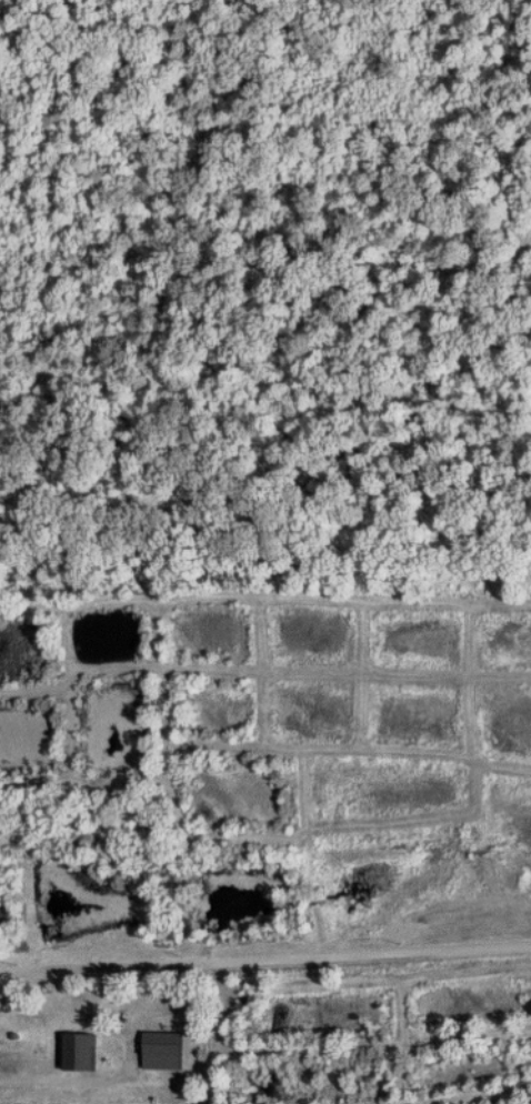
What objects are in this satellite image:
road: (265, 961)
building: (166, 1052)
building: (82, 1054)
road: (61, 1081)

